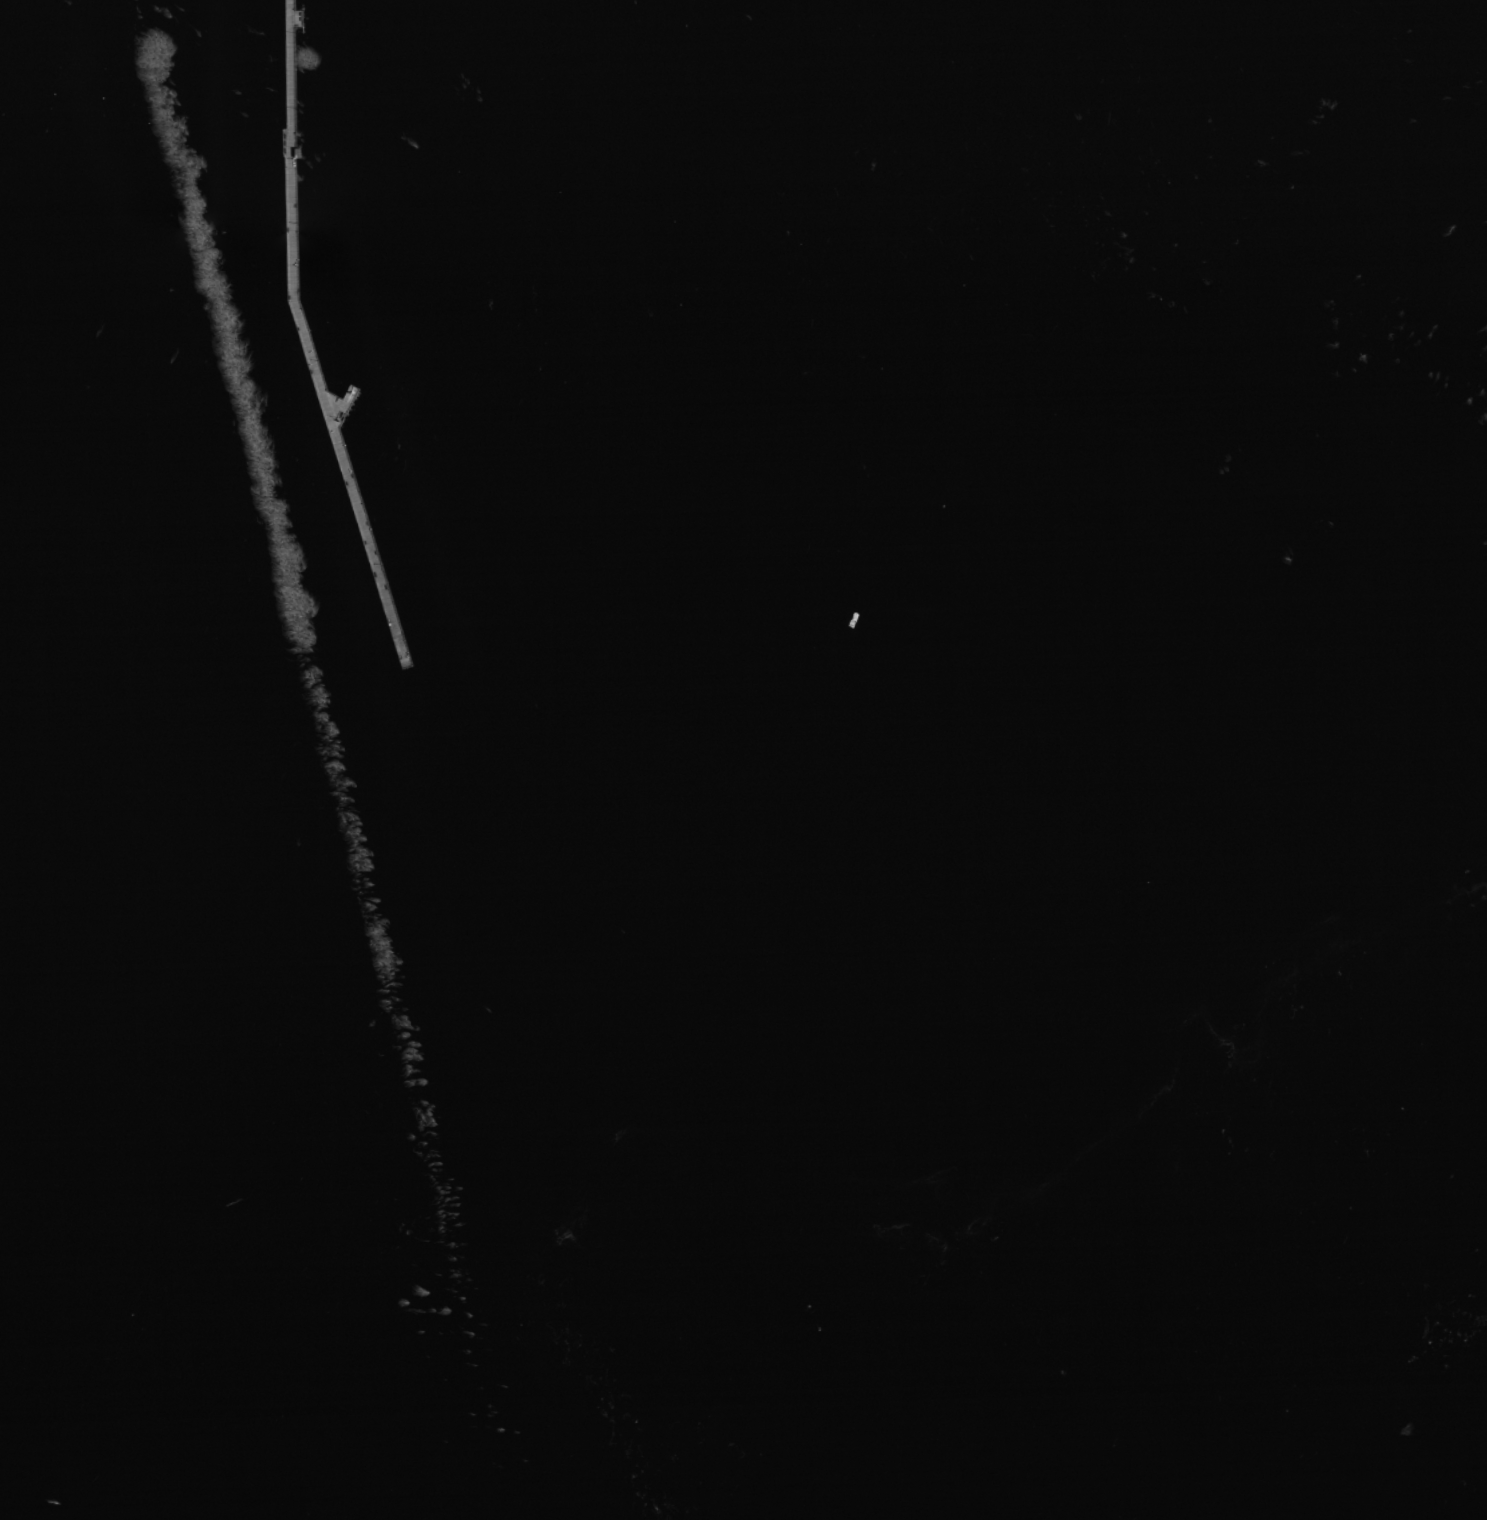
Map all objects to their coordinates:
road: (302, 337)
pier: (305, 343)

